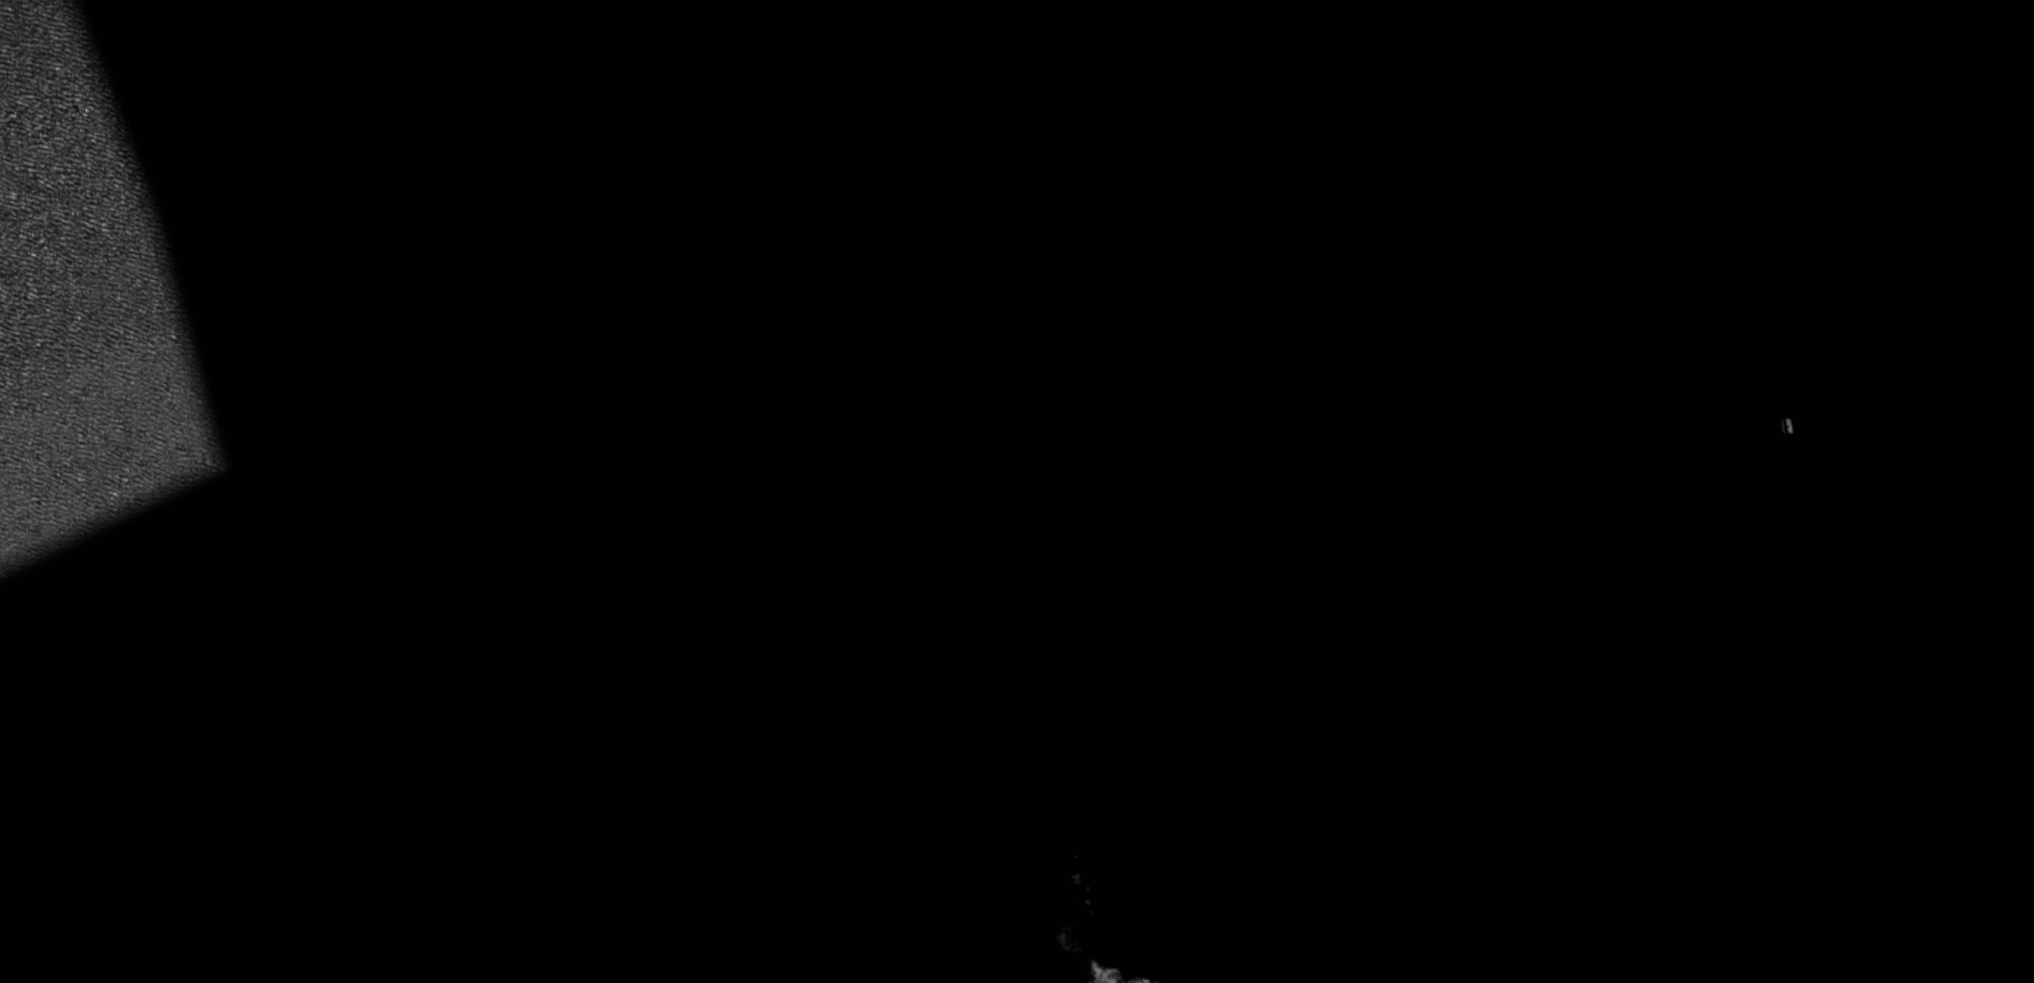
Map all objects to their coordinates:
river: (1797, 491)

